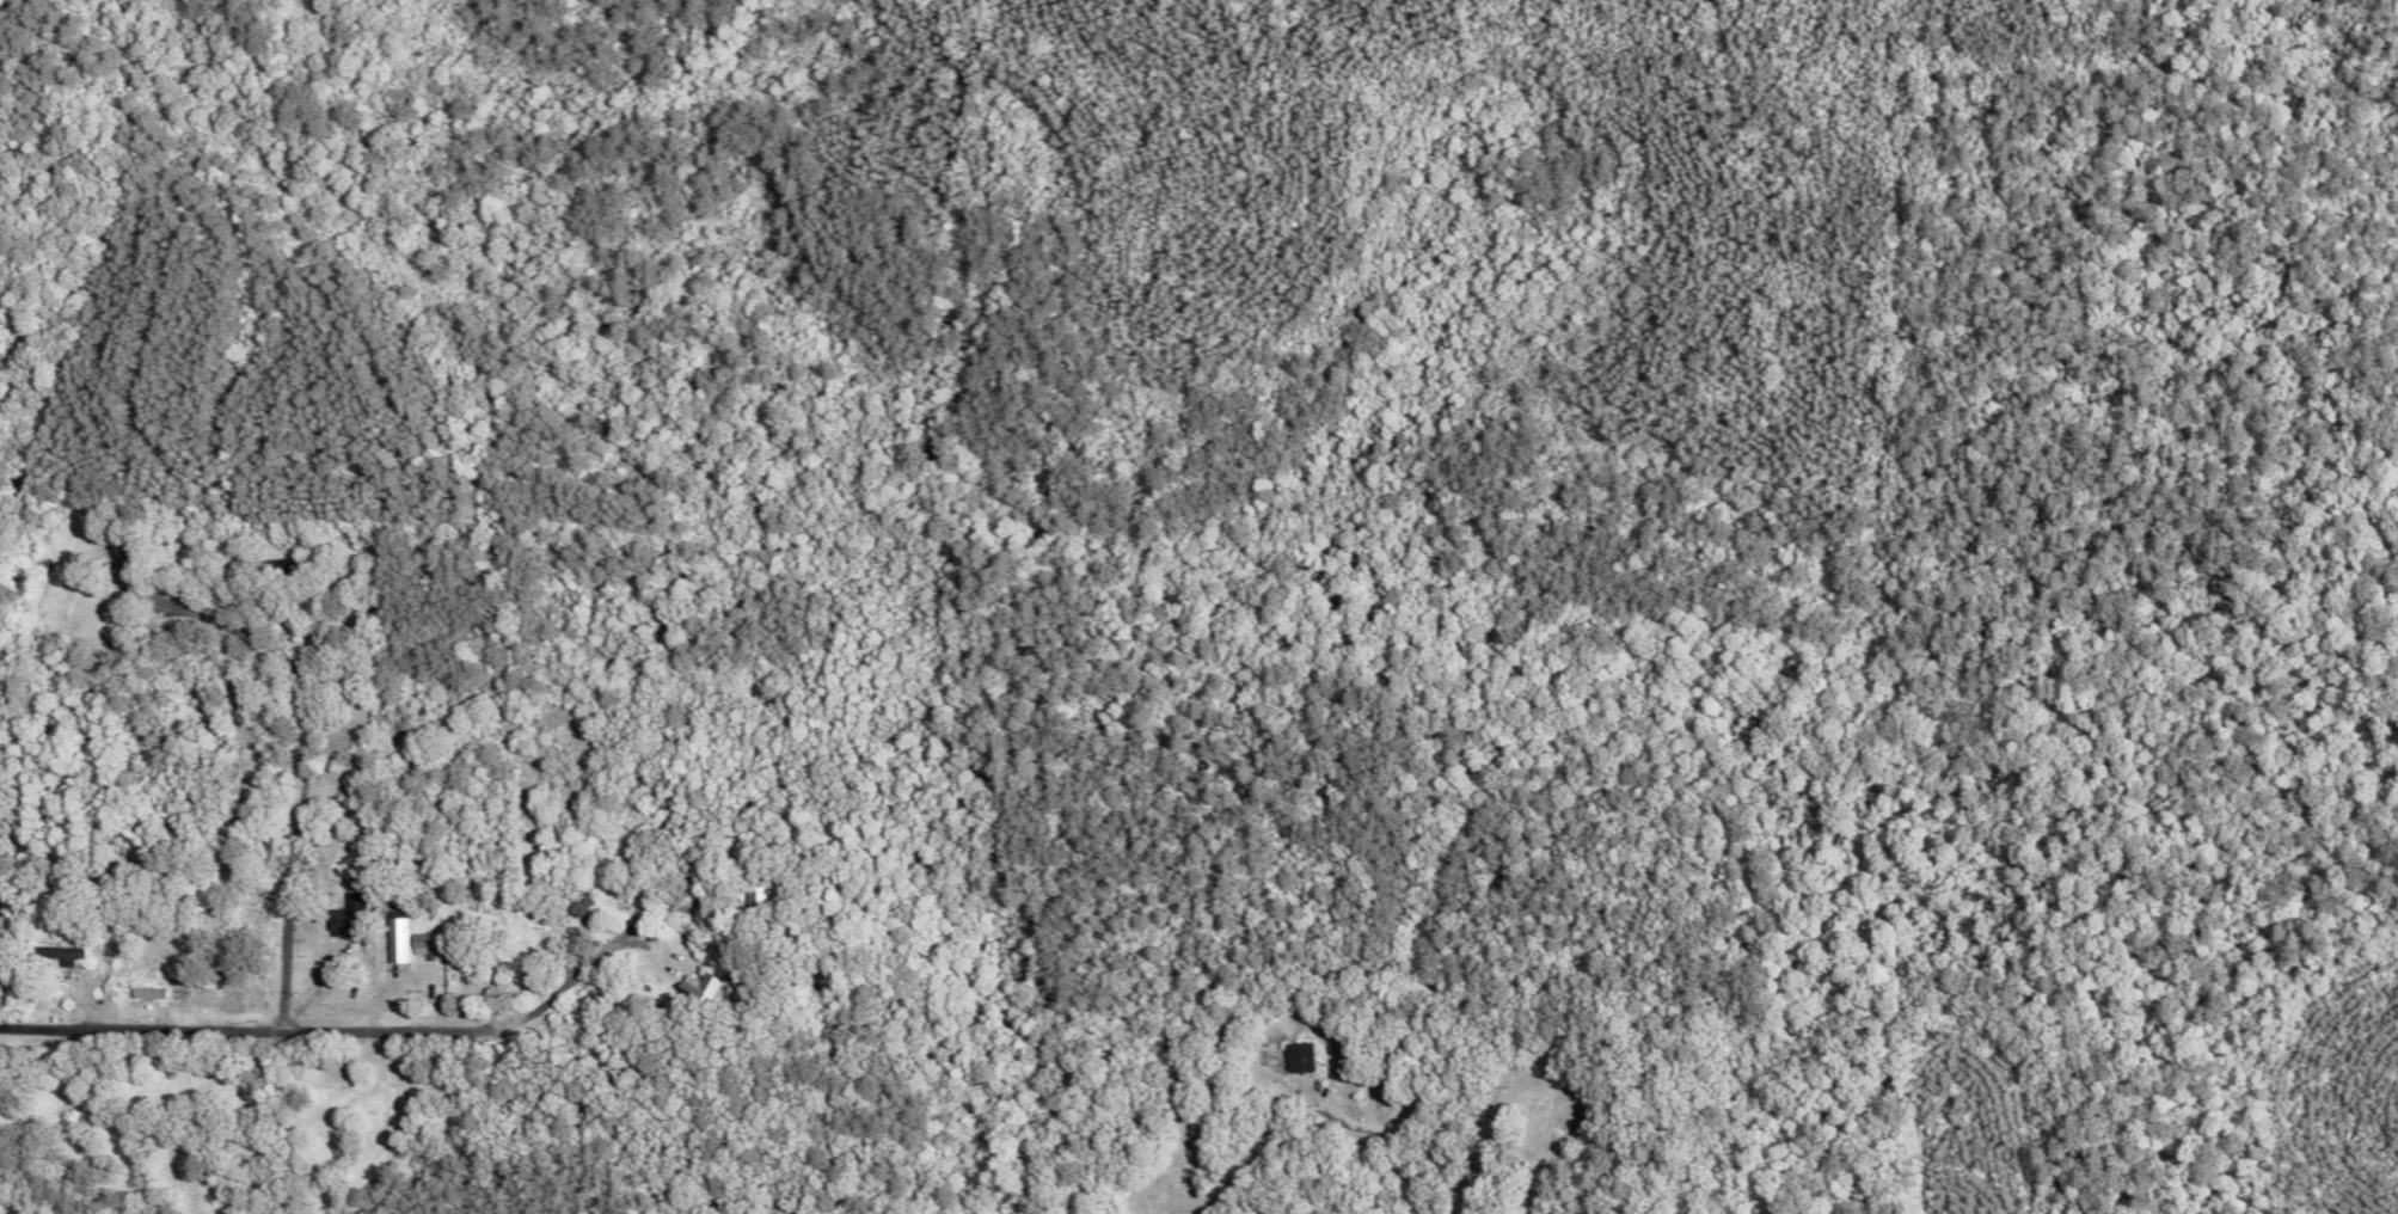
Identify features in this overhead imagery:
road: (301, 779)
building: (343, 916)
building: (393, 939)
building: (419, 940)
building: (72, 955)
building: (147, 993)
road: (354, 1031)
building: (1299, 1057)
road: (1397, 1139)

